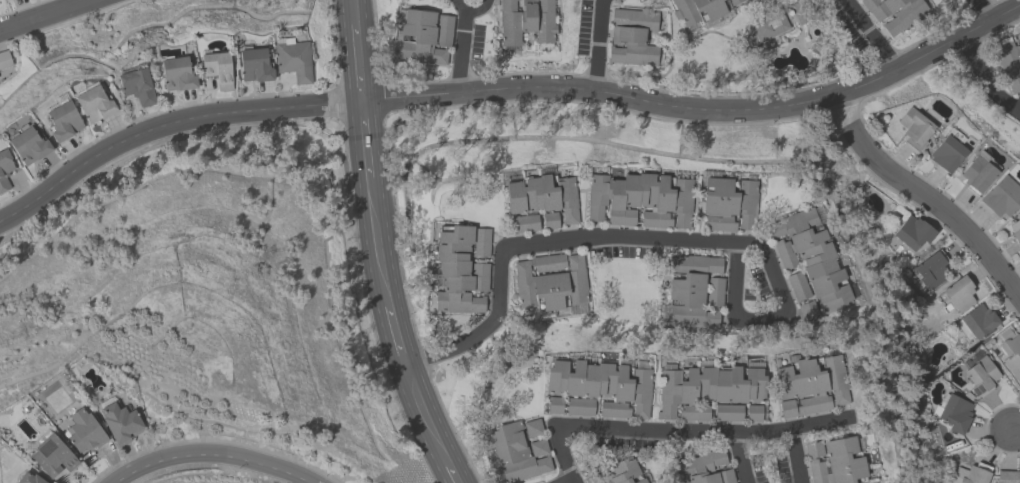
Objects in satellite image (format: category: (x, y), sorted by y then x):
road: (470, 10)
building: (700, 10)
road: (980, 10)
road: (354, 12)
building: (894, 12)
road: (40, 13)
building: (526, 20)
building: (766, 27)
road: (871, 33)
building: (423, 35)
building: (633, 36)
road: (596, 44)
road: (460, 51)
building: (292, 57)
building: (4, 58)
road: (359, 62)
building: (254, 63)
building: (1009, 63)
building: (217, 67)
building: (177, 72)
road: (984, 79)
building: (137, 84)
road: (507, 87)
building: (94, 102)
road: (1015, 105)
building: (63, 118)
building: (914, 126)
road: (365, 139)
building: (28, 143)
building: (947, 150)
building: (4, 168)
building: (978, 171)
building: (1001, 195)
road: (924, 196)
building: (640, 198)
building: (539, 199)
building: (728, 202)
building: (549, 219)
building: (1015, 229)
building: (913, 231)
road: (643, 237)
road: (376, 242)
building: (810, 259)
building: (460, 267)
building: (931, 268)
building: (552, 282)
building: (797, 285)
building: (694, 290)
building: (956, 294)
building: (978, 320)
road: (395, 336)
building: (1012, 355)
building: (981, 375)
building: (810, 383)
building: (600, 387)
building: (706, 388)
building: (554, 404)
building: (727, 411)
building: (753, 412)
building: (954, 412)
road: (424, 415)
building: (120, 421)
road: (670, 428)
road: (1015, 429)
building: (83, 430)
building: (813, 448)
building: (518, 449)
road: (209, 453)
building: (51, 454)
road: (795, 455)
road: (740, 457)
building: (838, 462)
building: (704, 467)
building: (621, 471)
road: (449, 474)
building: (971, 474)
building: (1008, 476)
building: (29, 478)
building: (594, 478)
road: (565, 480)

